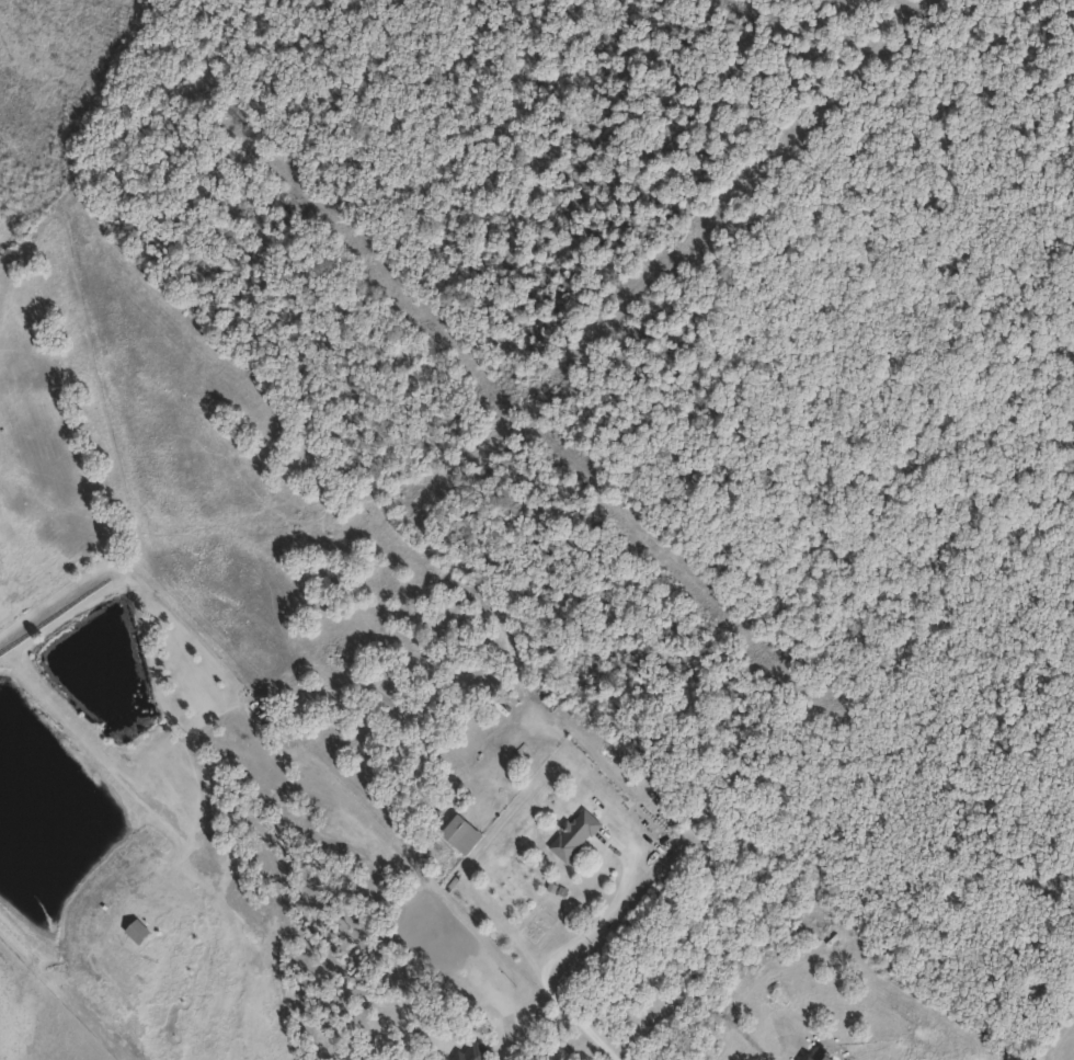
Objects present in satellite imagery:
building: (460, 834)
building: (573, 835)
road: (559, 953)
building: (473, 1051)

